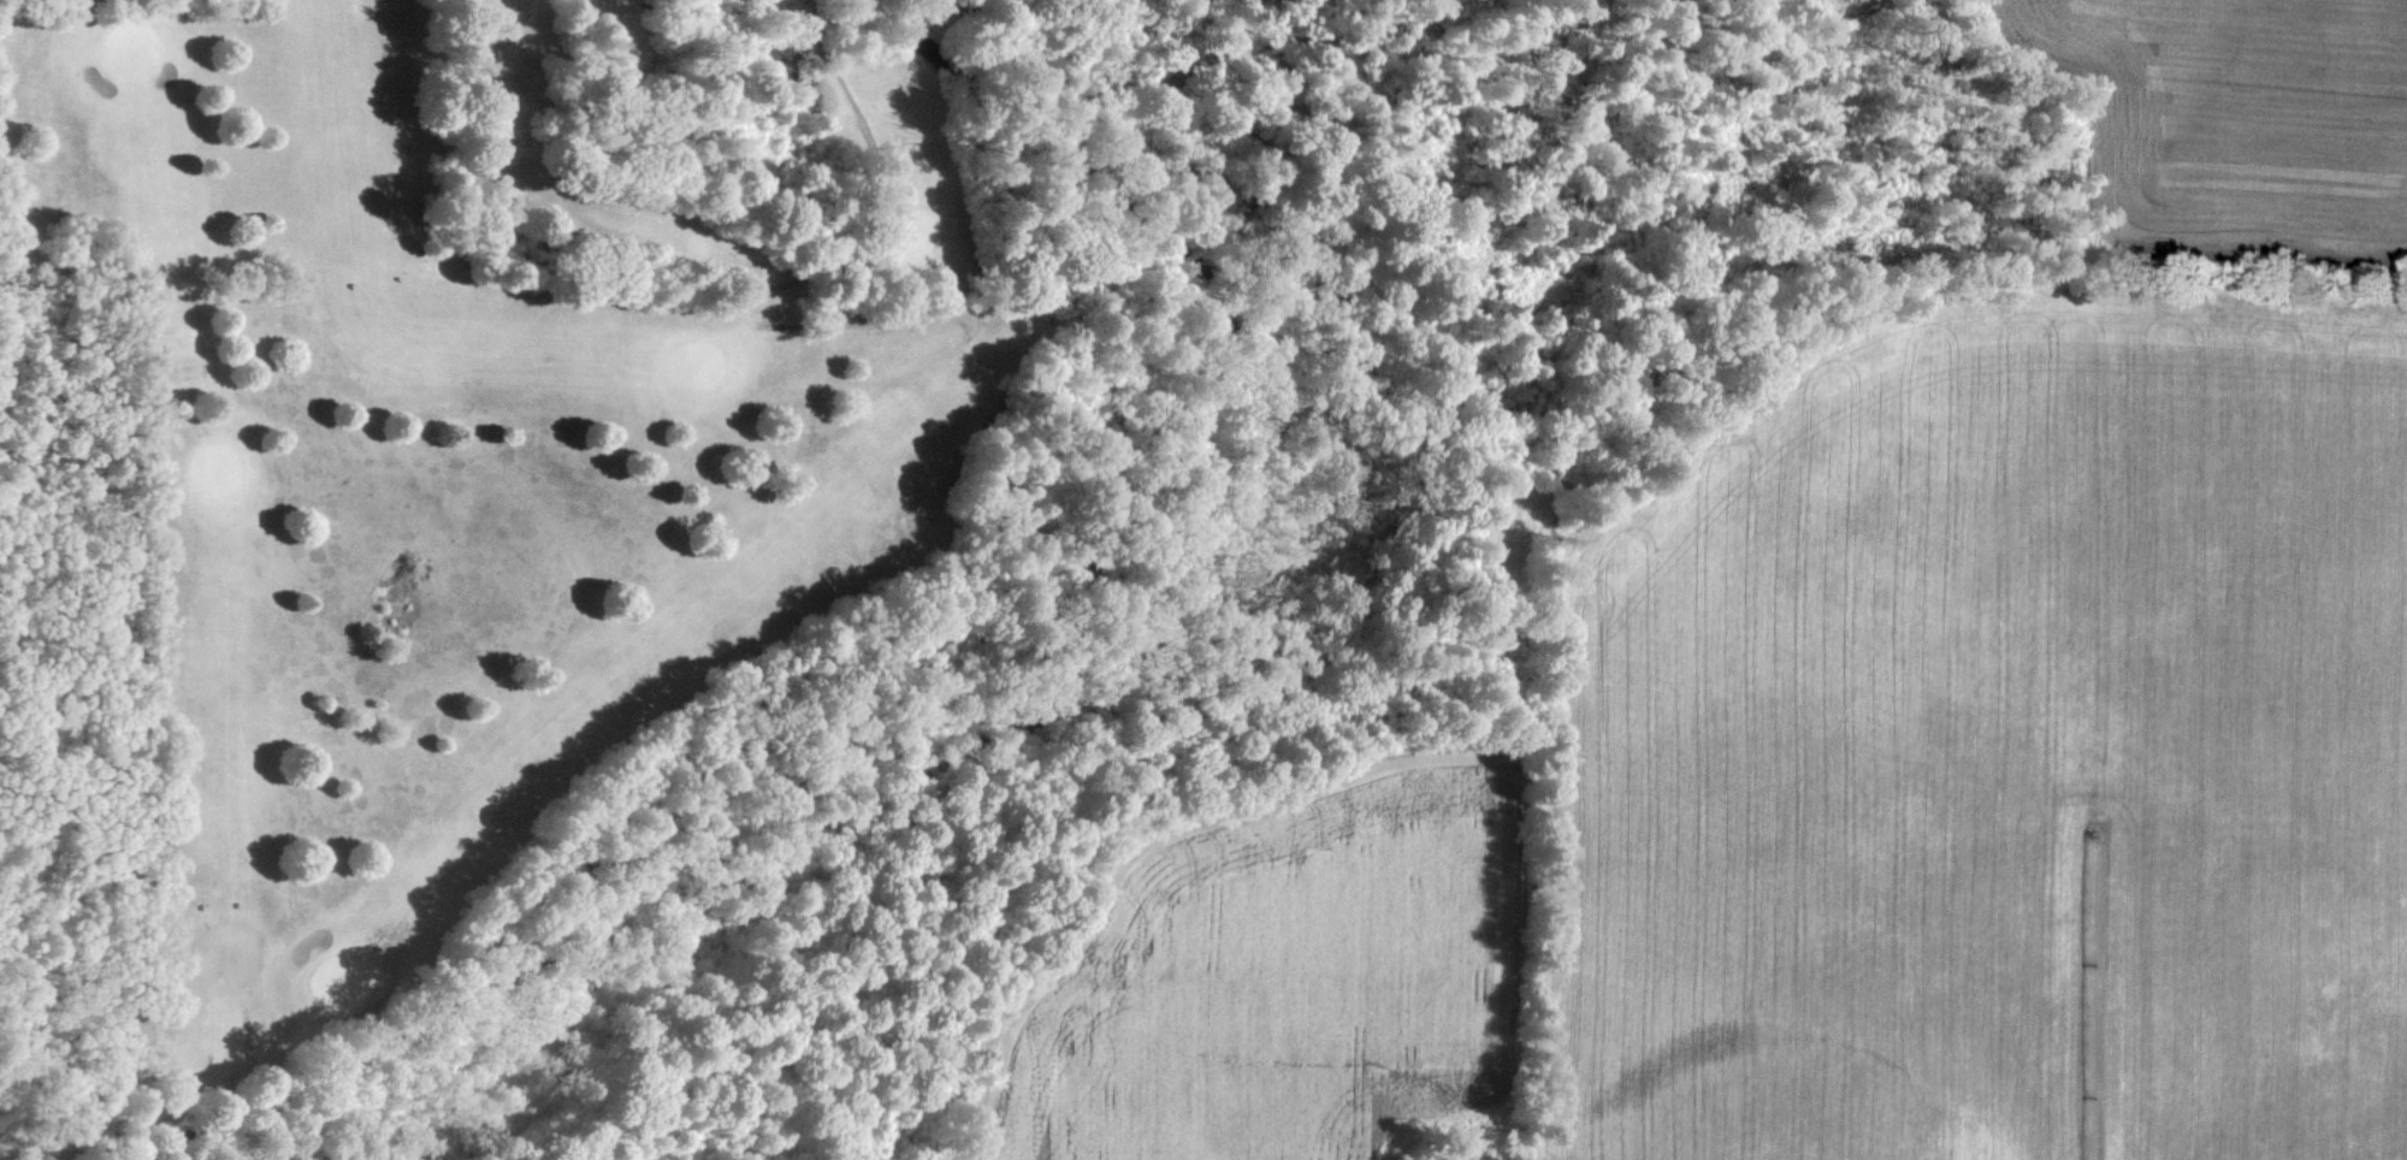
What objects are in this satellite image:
park: (515, 428)

